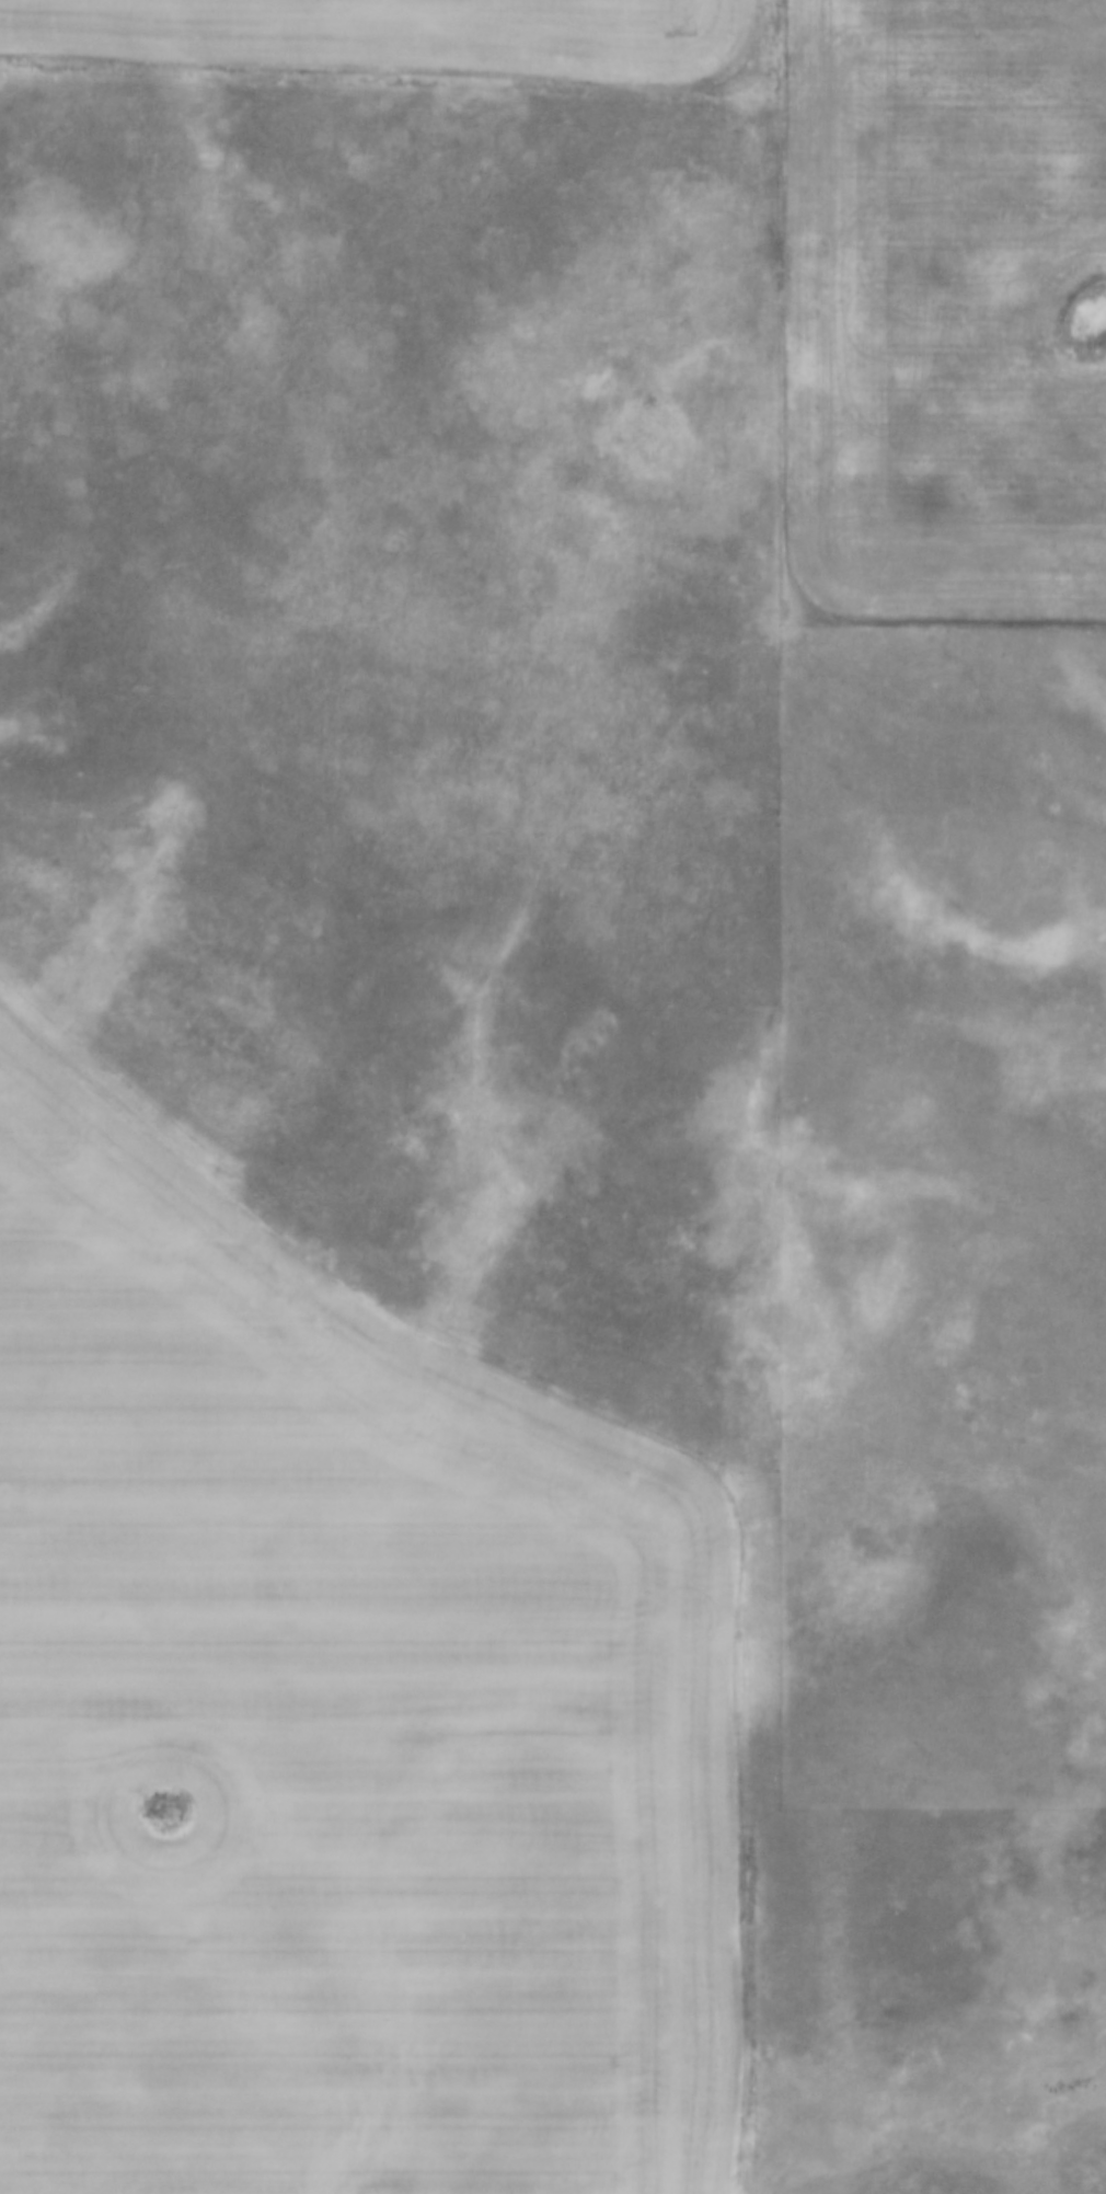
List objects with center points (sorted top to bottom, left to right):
road: (941, 1813)

